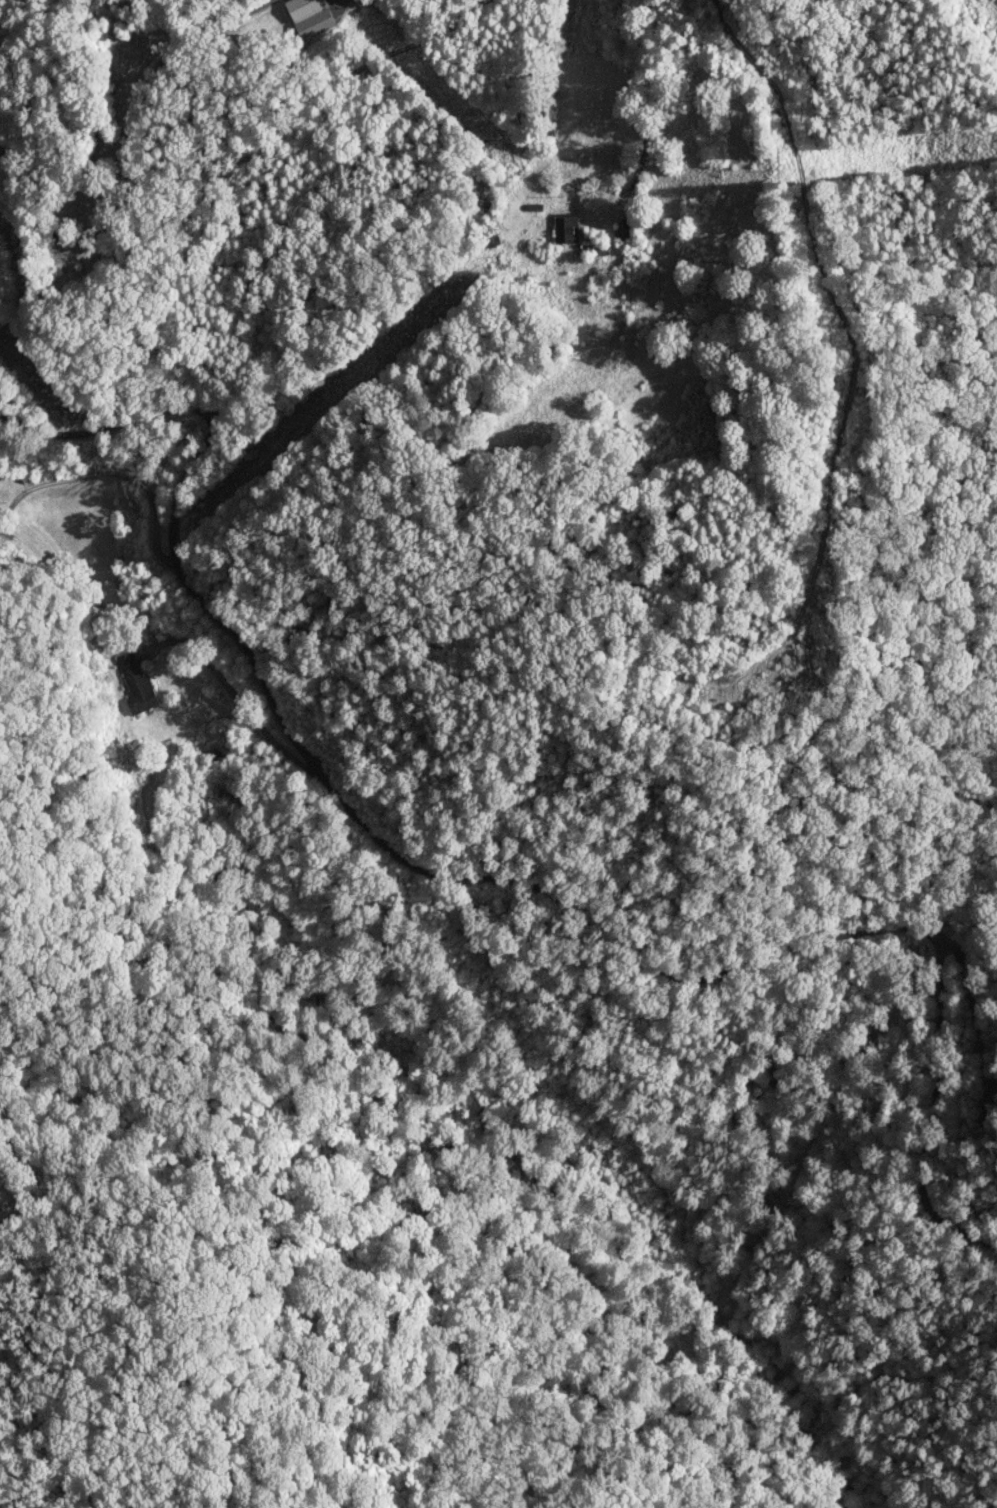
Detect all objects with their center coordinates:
building: (306, 9)
road: (598, 37)
road: (189, 51)
road: (314, 78)
road: (88, 177)
building: (568, 228)
building: (629, 230)
road: (170, 629)
building: (138, 682)
road: (496, 850)
road: (511, 877)
road: (927, 1191)

